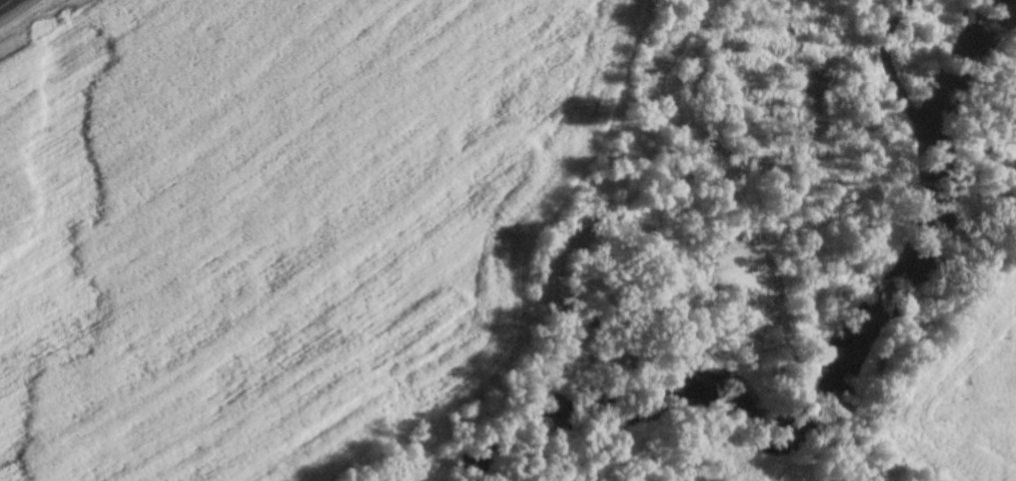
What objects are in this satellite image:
road: (10, 6)
river: (981, 82)
river: (798, 396)

